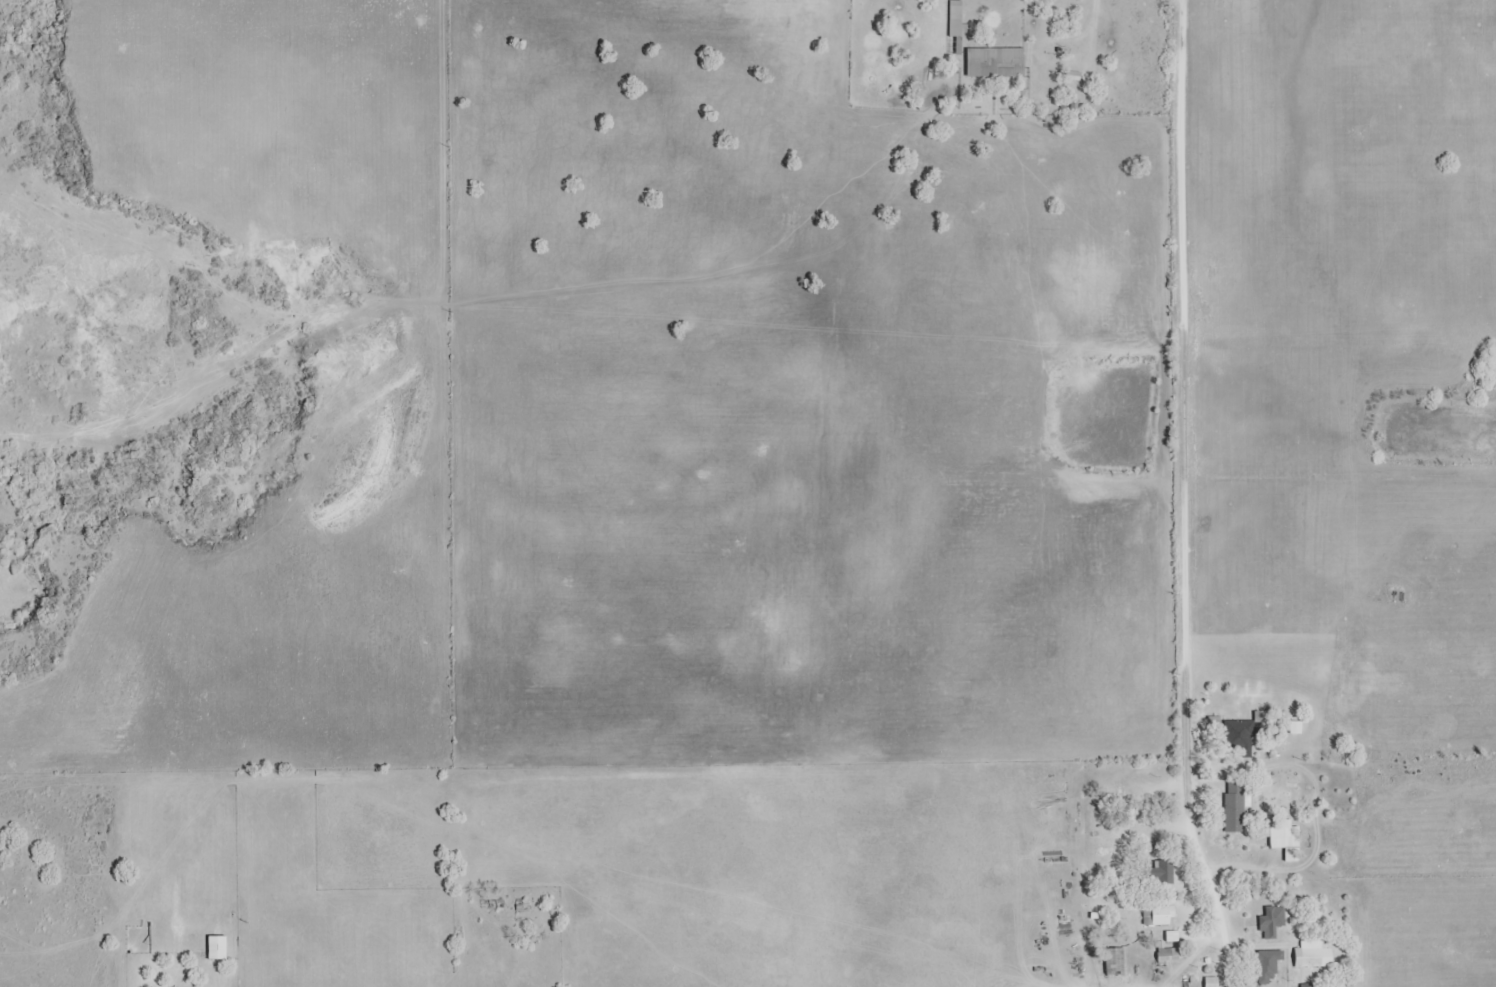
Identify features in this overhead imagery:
road: (1182, 496)
building: (1293, 727)
building: (1282, 837)
building: (1159, 915)
building: (215, 947)
building: (1310, 955)
building: (1265, 965)
building: (1345, 986)

